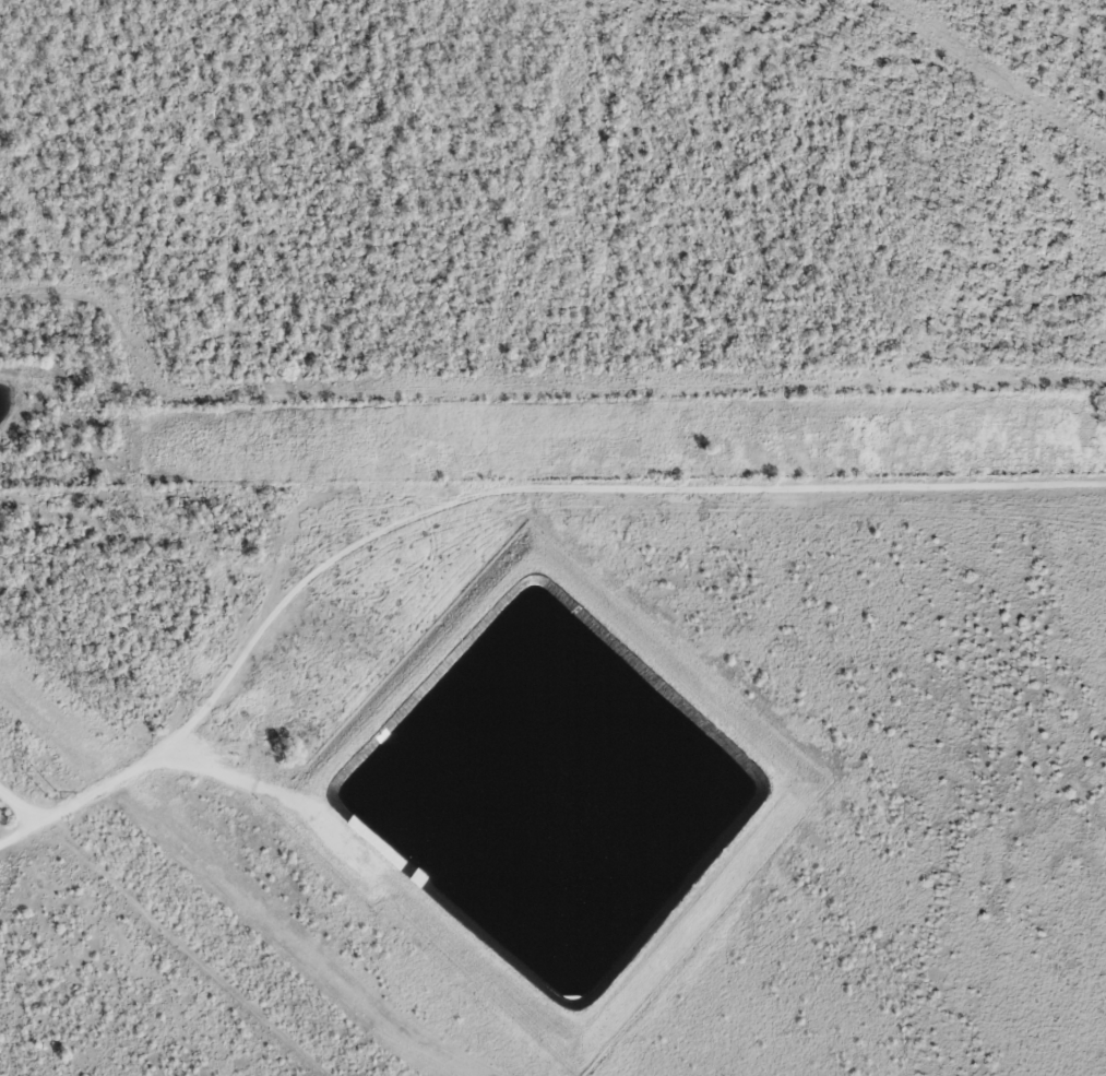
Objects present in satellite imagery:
road: (490, 490)
power tower: (52, 793)

